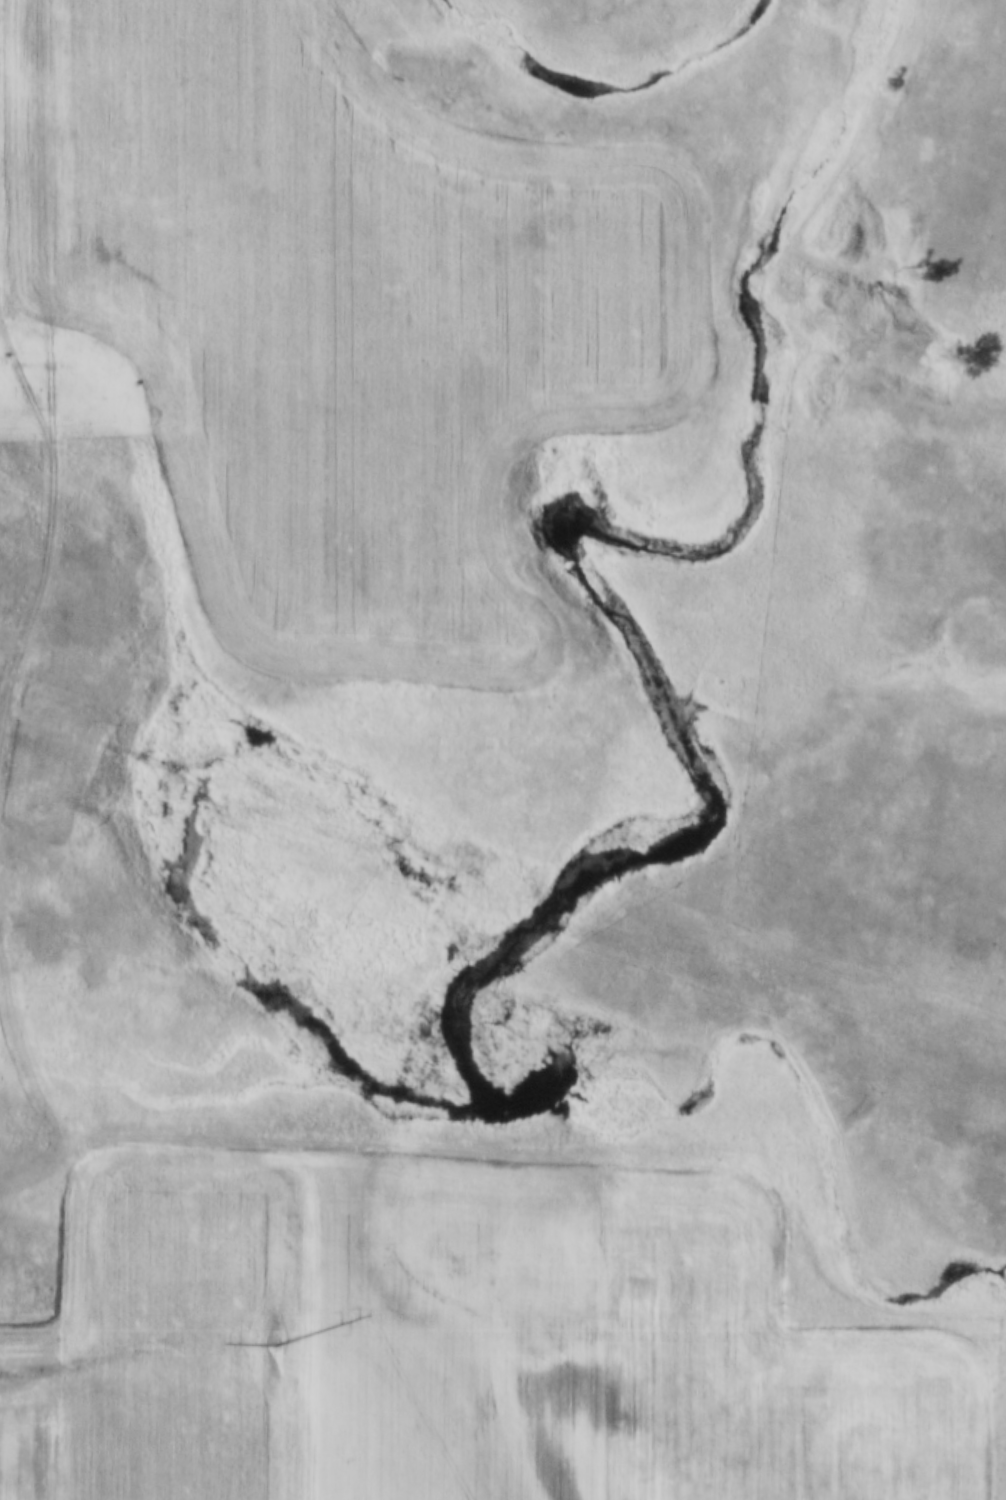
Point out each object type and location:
power tower: (271, 1344)

